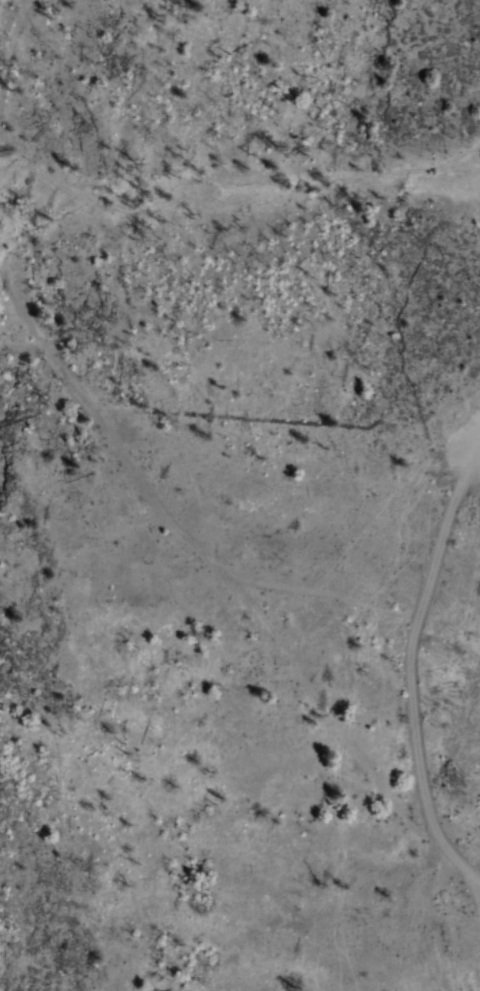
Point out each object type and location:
road: (479, 426)
road: (161, 512)
road: (445, 516)
road: (327, 710)
road: (413, 752)
road: (474, 879)
road: (474, 902)

